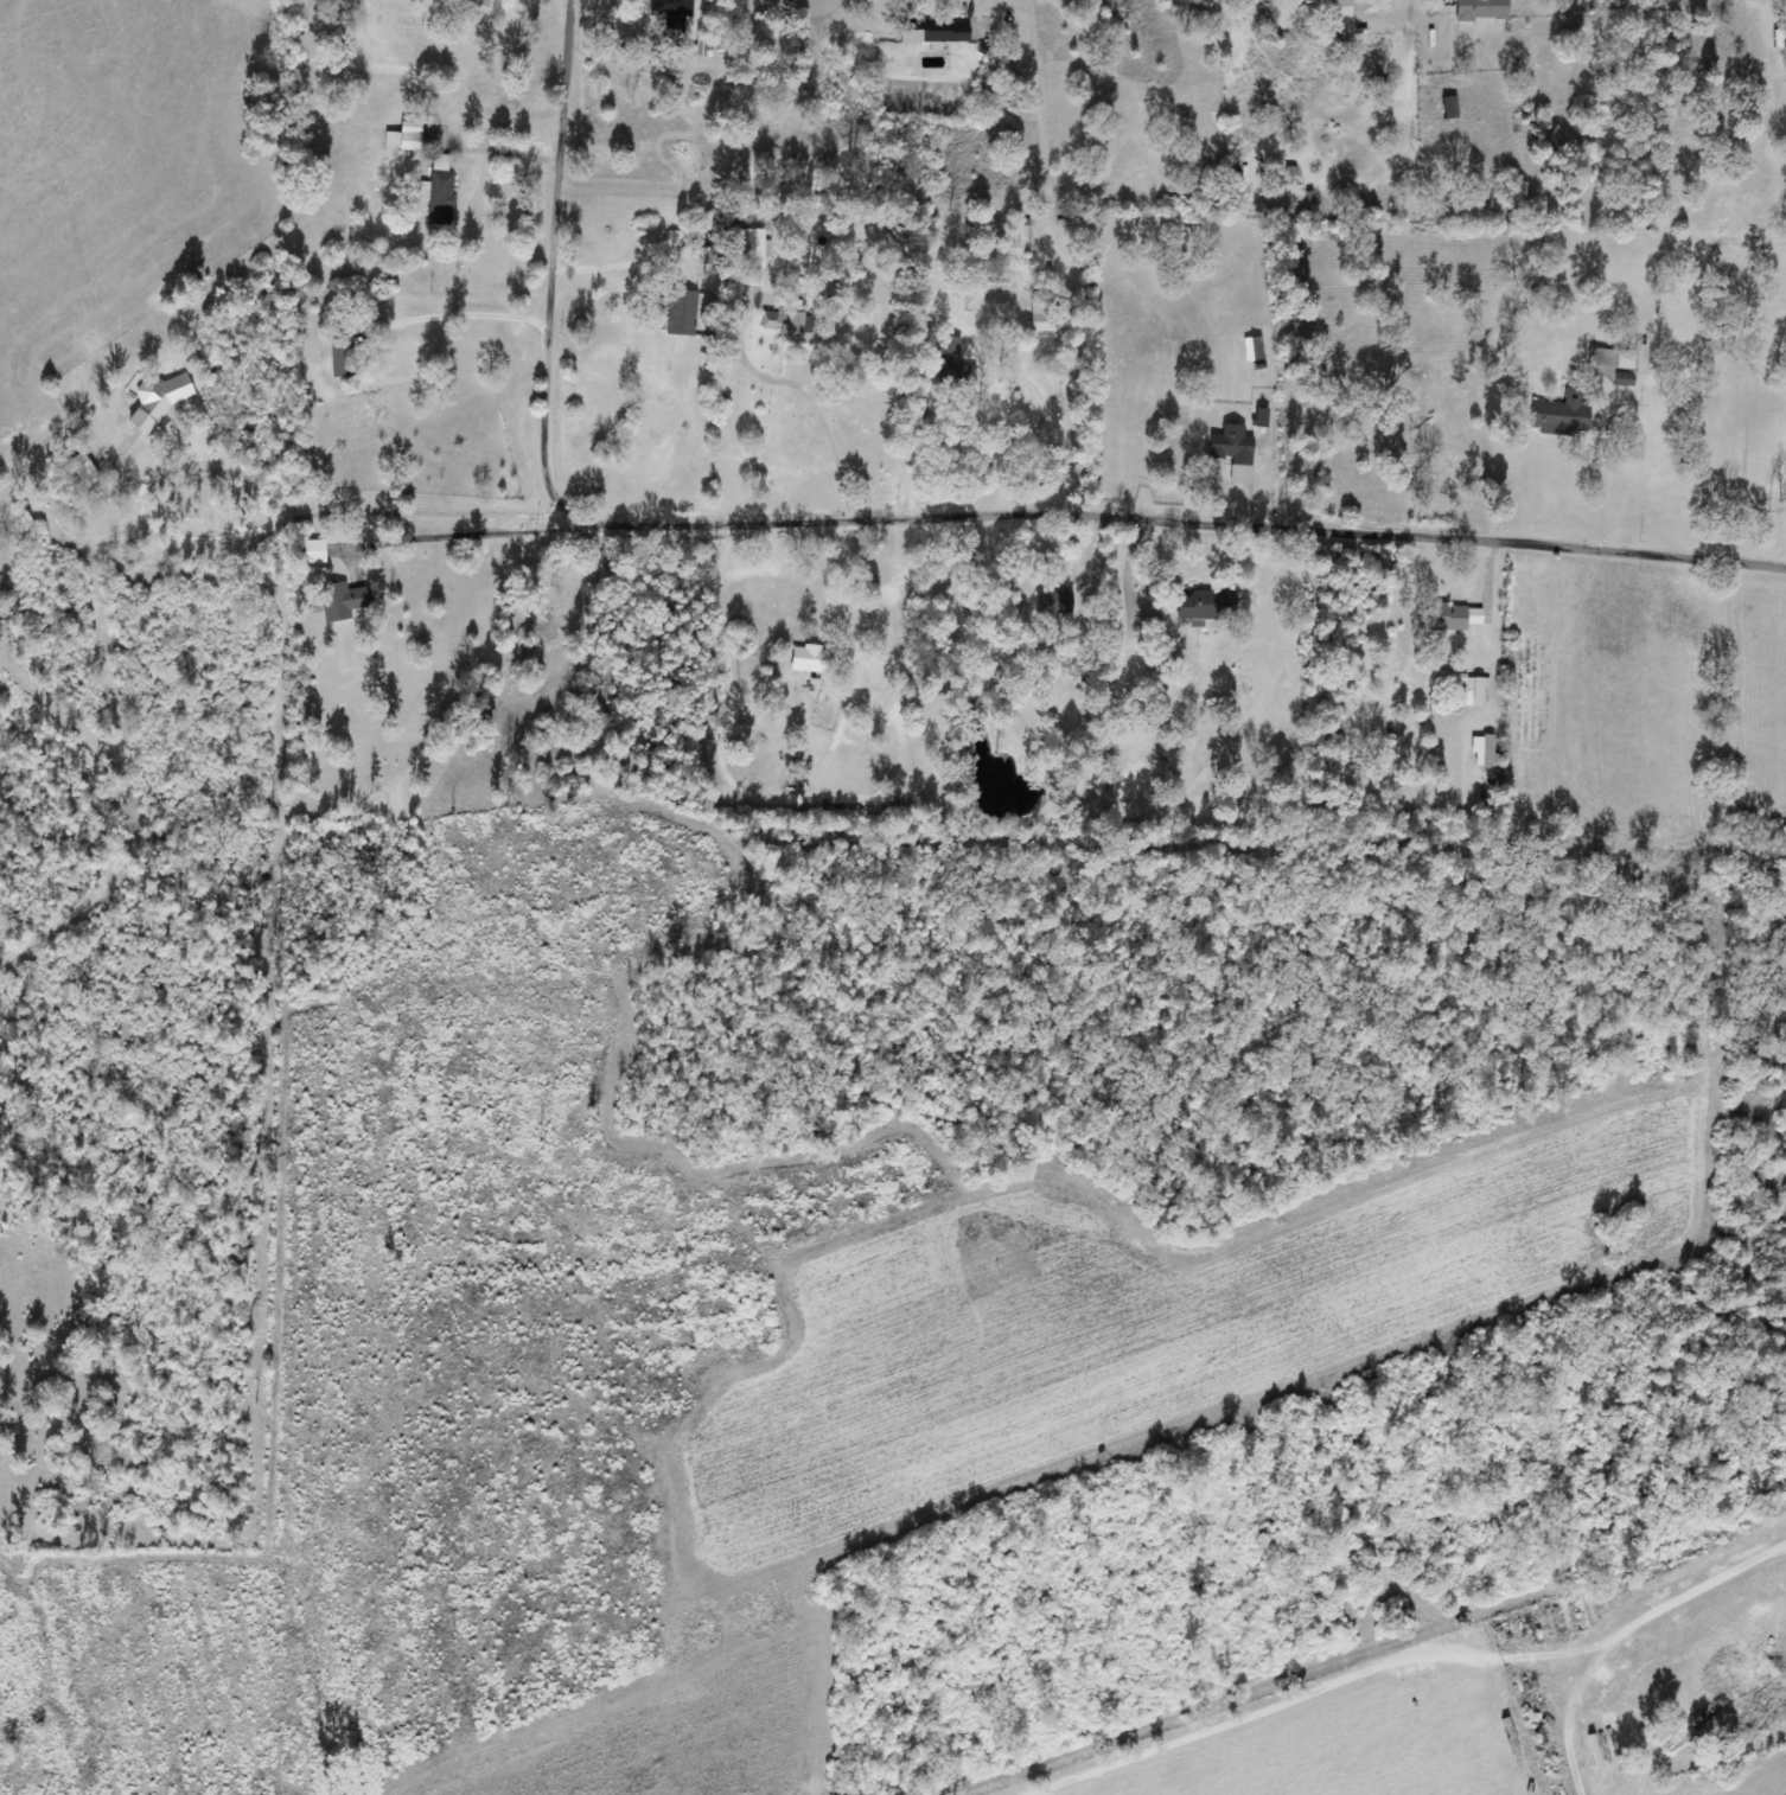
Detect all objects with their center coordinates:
building: (1310, 1)
building: (478, 2)
building: (1481, 9)
building: (671, 12)
building: (935, 31)
building: (1452, 107)
building: (404, 138)
building: (439, 192)
building: (675, 238)
building: (755, 256)
building: (733, 295)
building: (677, 309)
building: (1045, 317)
building: (790, 324)
road: (286, 326)
building: (1254, 349)
building: (342, 357)
building: (1612, 359)
building: (1641, 359)
building: (952, 364)
building: (1625, 378)
building: (1563, 414)
building: (1262, 417)
building: (1235, 452)
building: (83, 469)
road: (964, 469)
road: (329, 511)
building: (314, 551)
building: (336, 602)
building: (1054, 602)
building: (1201, 609)
building: (1440, 618)
building: (810, 659)
building: (1155, 684)
building: (1467, 686)
building: (1485, 750)

